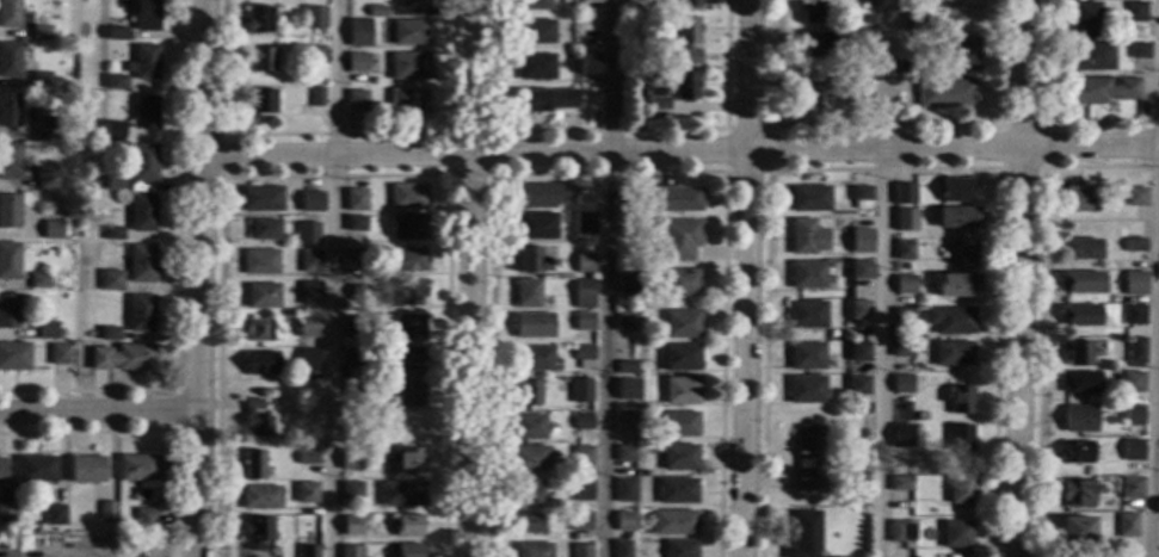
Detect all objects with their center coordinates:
building: (412, 2)
building: (690, 4)
building: (535, 5)
building: (634, 8)
building: (377, 10)
building: (810, 11)
building: (1134, 11)
building: (10, 13)
building: (143, 16)
building: (314, 17)
building: (1084, 18)
building: (258, 19)
building: (870, 19)
building: (912, 20)
building: (41, 31)
building: (359, 31)
building: (536, 31)
building: (409, 32)
building: (116, 33)
building: (684, 37)
building: (858, 39)
building: (812, 44)
building: (1136, 50)
building: (314, 54)
building: (958, 54)
building: (1089, 56)
building: (261, 58)
building: (10, 60)
building: (144, 61)
building: (358, 61)
building: (536, 64)
building: (591, 64)
building: (409, 66)
building: (857, 66)
building: (39, 80)
building: (116, 81)
building: (680, 83)
building: (859, 88)
building: (1101, 88)
building: (943, 92)
building: (318, 95)
building: (812, 98)
building: (545, 99)
building: (655, 99)
building: (260, 100)
building: (357, 100)
building: (409, 101)
building: (10, 110)
building: (144, 112)
road: (1041, 120)
road: (879, 125)
building: (47, 128)
road: (605, 129)
building: (112, 130)
road: (331, 132)
building: (39, 146)
road: (678, 150)
road: (220, 155)
building: (10, 161)
building: (142, 162)
road: (1038, 166)
road: (882, 167)
road: (608, 171)
road: (764, 171)
road: (489, 173)
road: (334, 174)
building: (47, 178)
building: (115, 182)
building: (91, 184)
building: (953, 188)
building: (902, 193)
building: (543, 194)
building: (408, 196)
building: (861, 197)
building: (1134, 197)
building: (260, 198)
building: (808, 198)
building: (1075, 198)
building: (356, 199)
building: (672, 199)
building: (312, 202)
building: (10, 211)
building: (141, 212)
building: (956, 216)
building: (904, 218)
building: (356, 222)
building: (586, 222)
building: (536, 225)
building: (408, 227)
building: (51, 229)
building: (265, 229)
building: (113, 233)
building: (307, 233)
building: (806, 236)
building: (677, 239)
building: (859, 240)
building: (1133, 245)
building: (1079, 248)
building: (902, 250)
building: (962, 253)
building: (353, 258)
building: (407, 259)
building: (8, 260)
building: (310, 260)
building: (532, 260)
building: (260, 261)
building: (586, 261)
building: (141, 262)
building: (833, 265)
building: (859, 270)
building: (807, 274)
road: (196, 278)
road: (332, 278)
road: (468, 278)
road: (605, 278)
road: (745, 278)
road: (880, 278)
road: (1016, 278)
road: (1154, 278)
building: (110, 279)
building: (39, 280)
building: (629, 281)
building: (679, 281)
building: (1079, 281)
building: (905, 283)
building: (1133, 283)
building: (955, 284)
building: (309, 292)
building: (359, 292)
building: (526, 292)
building: (403, 293)
building: (584, 293)
building: (261, 295)
road: (1037, 302)
building: (858, 309)
building: (8, 310)
building: (140, 312)
building: (807, 314)
building: (901, 314)
building: (1079, 314)
building: (1133, 314)
building: (949, 318)
building: (584, 321)
building: (628, 321)
building: (680, 323)
building: (353, 324)
building: (534, 324)
building: (308, 326)
building: (406, 326)
building: (47, 329)
building: (260, 329)
building: (109, 333)
building: (900, 348)
building: (1134, 349)
building: (858, 352)
building: (1074, 352)
building: (58, 353)
building: (953, 353)
building: (14, 355)
building: (584, 355)
building: (806, 355)
building: (122, 357)
building: (353, 357)
building: (679, 357)
building: (534, 358)
building: (309, 359)
building: (406, 359)
building: (261, 363)
building: (1133, 365)
building: (627, 367)
building: (1078, 382)
building: (1130, 382)
building: (901, 383)
building: (858, 386)
building: (376, 388)
building: (627, 389)
building: (806, 389)
building: (580, 390)
building: (680, 390)
building: (528, 392)
building: (356, 394)
building: (409, 395)
building: (958, 398)
building: (625, 402)
road: (97, 410)
building: (1132, 415)
building: (920, 416)
building: (1077, 417)
building: (255, 419)
building: (627, 420)
building: (582, 421)
building: (679, 423)
building: (529, 427)
building: (900, 435)
building: (958, 437)
building: (1130, 448)
building: (1074, 451)
building: (625, 452)
building: (308, 456)
building: (582, 456)
building: (678, 457)
building: (407, 458)
building: (529, 458)
building: (808, 458)
building: (350, 459)
building: (253, 464)
building: (136, 466)
building: (36, 469)
building: (86, 469)
building: (1, 470)
building: (899, 482)
building: (1130, 487)
building: (581, 488)
building: (960, 488)
building: (528, 490)
building: (625, 490)
building: (677, 490)
building: (351, 491)
building: (1077, 491)
building: (307, 493)
building: (401, 493)
building: (260, 496)
building: (845, 501)
building: (106, 509)
building: (7, 512)
building: (55, 514)
building: (144, 519)
building: (624, 520)
building: (581, 521)
building: (673, 521)
building: (528, 524)
building: (352, 525)
building: (408, 525)
building: (1126, 525)
building: (259, 528)
building: (1077, 530)
building: (900, 531)
building: (955, 533)
building: (804, 534)
building: (679, 547)
building: (621, 549)
building: (407, 550)
building: (532, 550)
building: (581, 550)
building: (309, 551)
building: (351, 551)
road: (51, 555)

